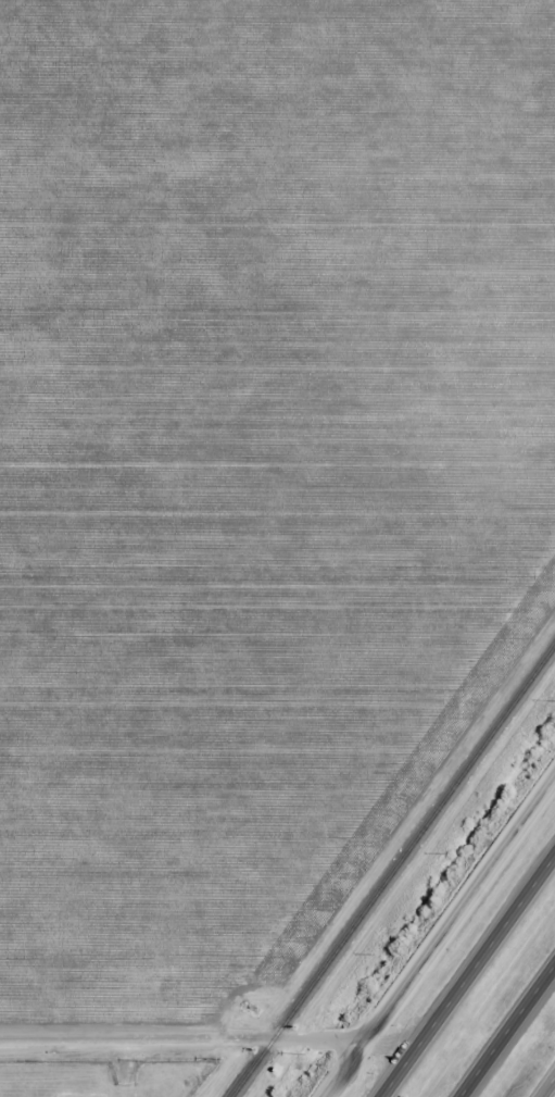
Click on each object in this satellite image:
railway: (394, 873)
road: (440, 937)
road: (467, 977)
road: (506, 1030)
road: (182, 1042)
road: (546, 1085)

